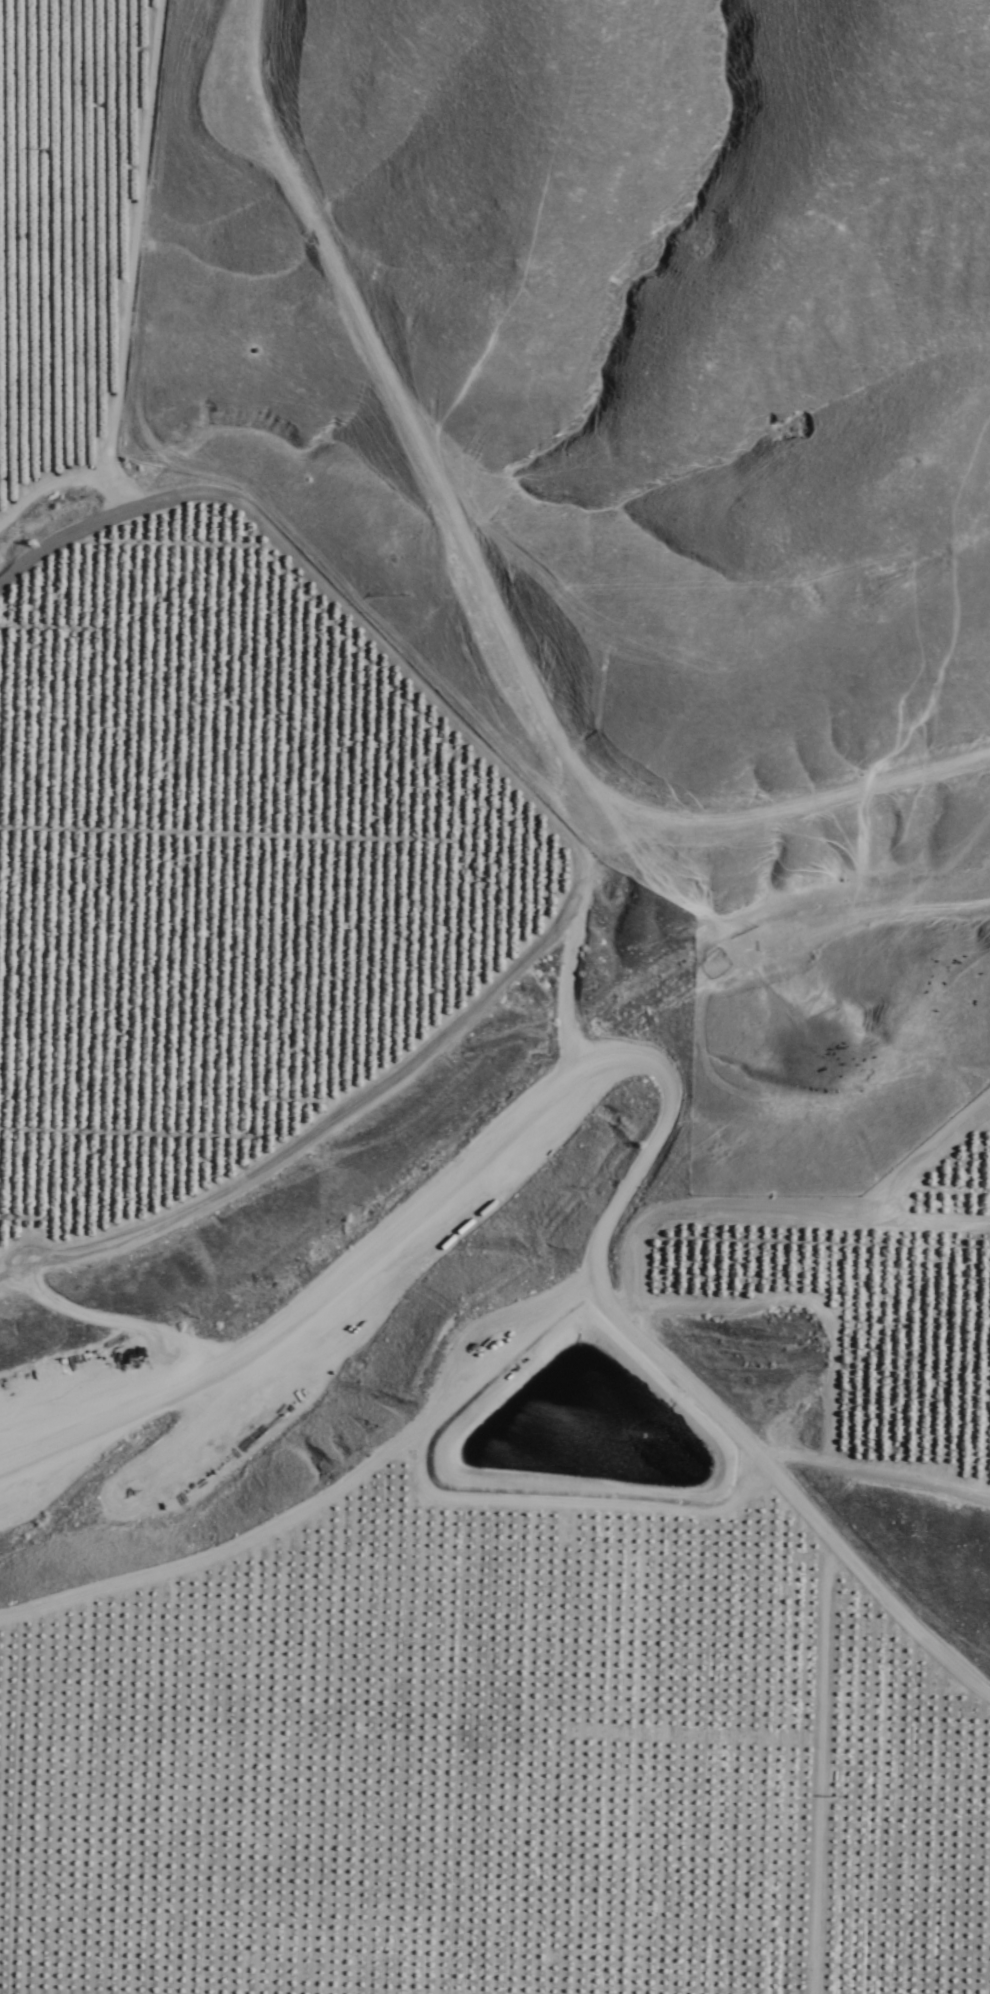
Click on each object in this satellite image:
crop: (198, 735)
road: (529, 1125)
road: (508, 1362)
road: (97, 1449)
road: (733, 1482)
crop: (491, 1756)

